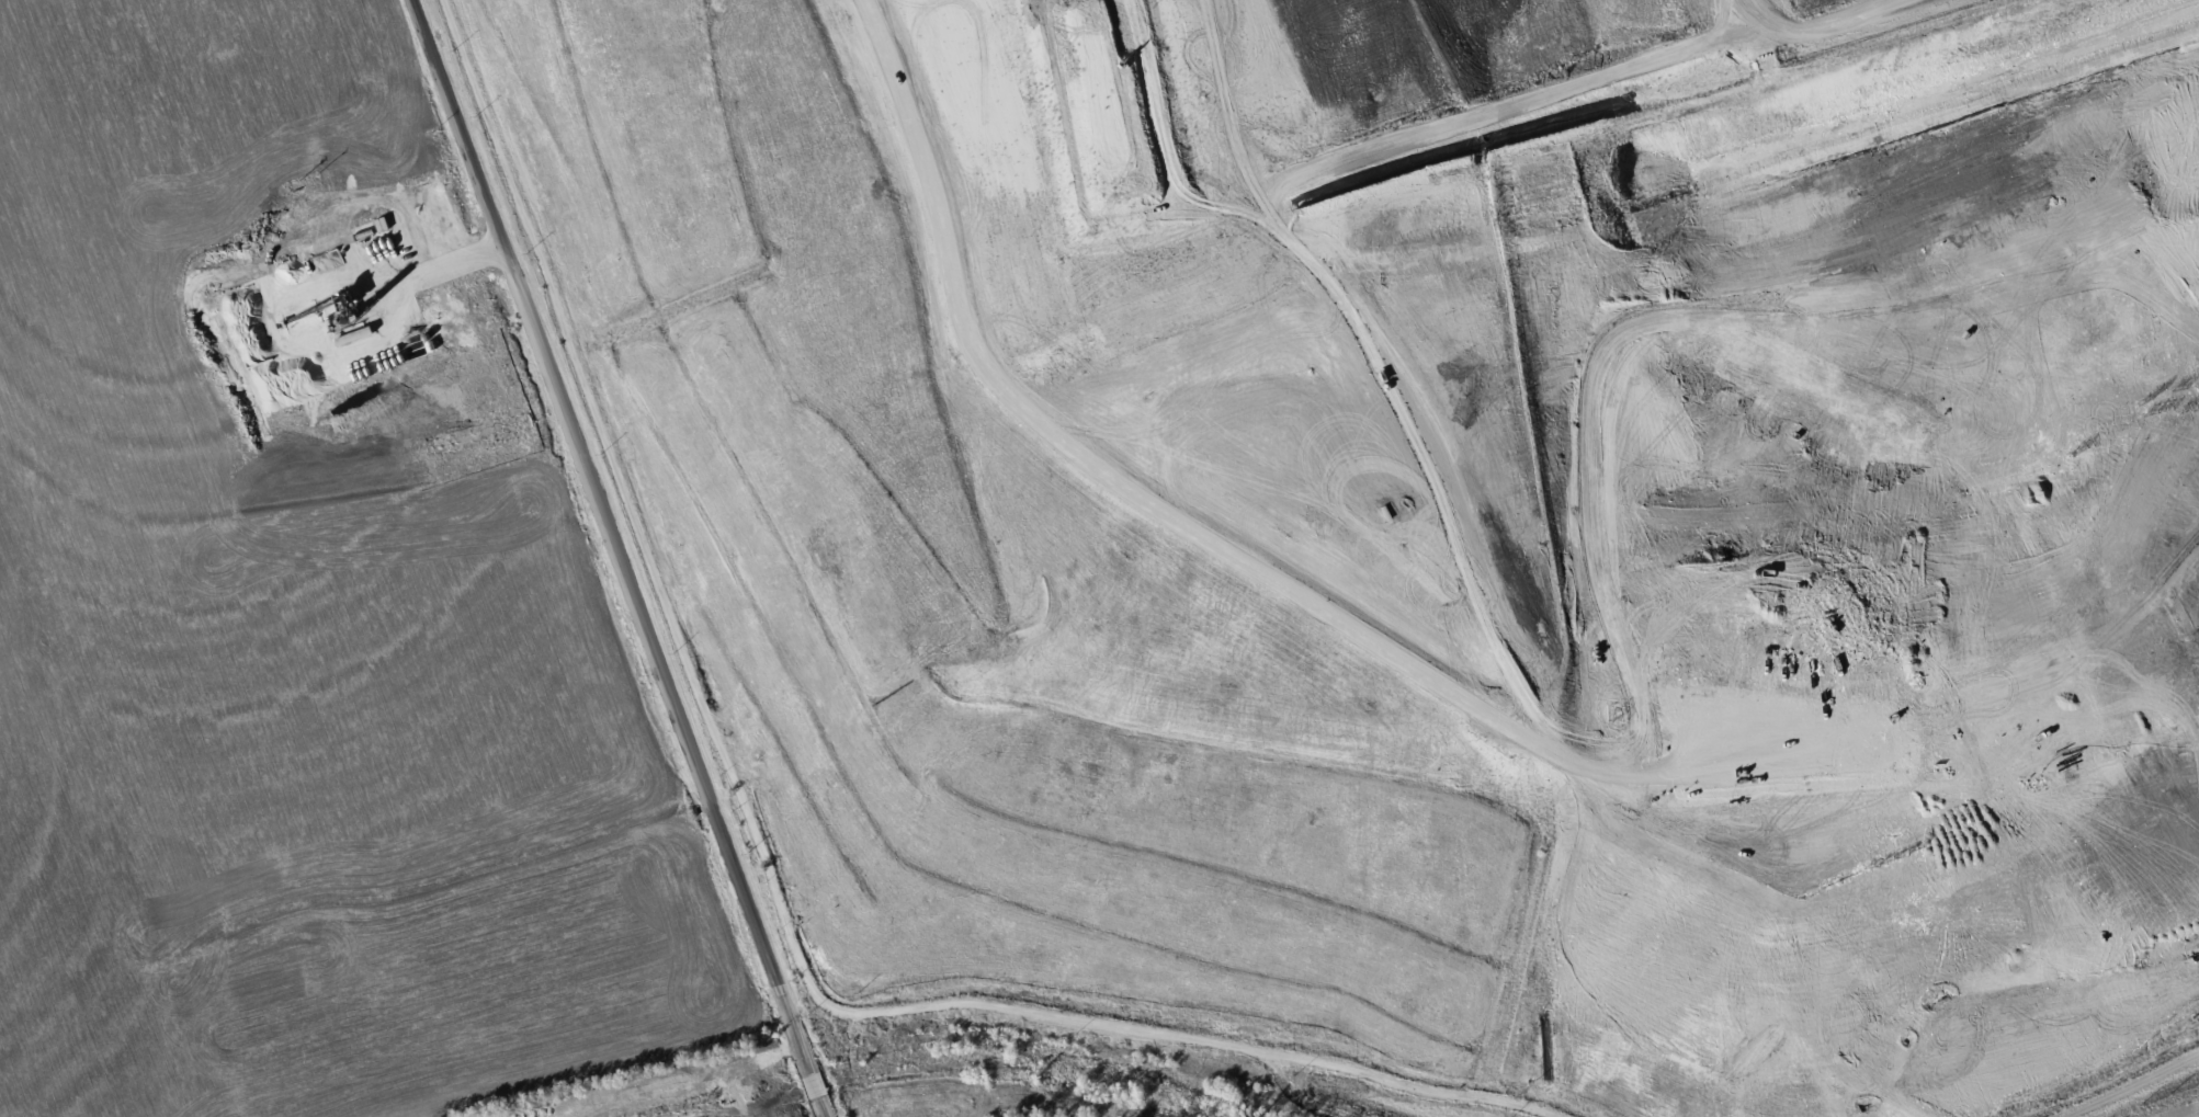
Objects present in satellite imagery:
road: (1812, 27)
road: (1023, 400)
landfill: (1422, 518)
road: (608, 536)
road: (760, 854)
road: (812, 1084)
road: (2130, 1084)
road: (820, 1107)

